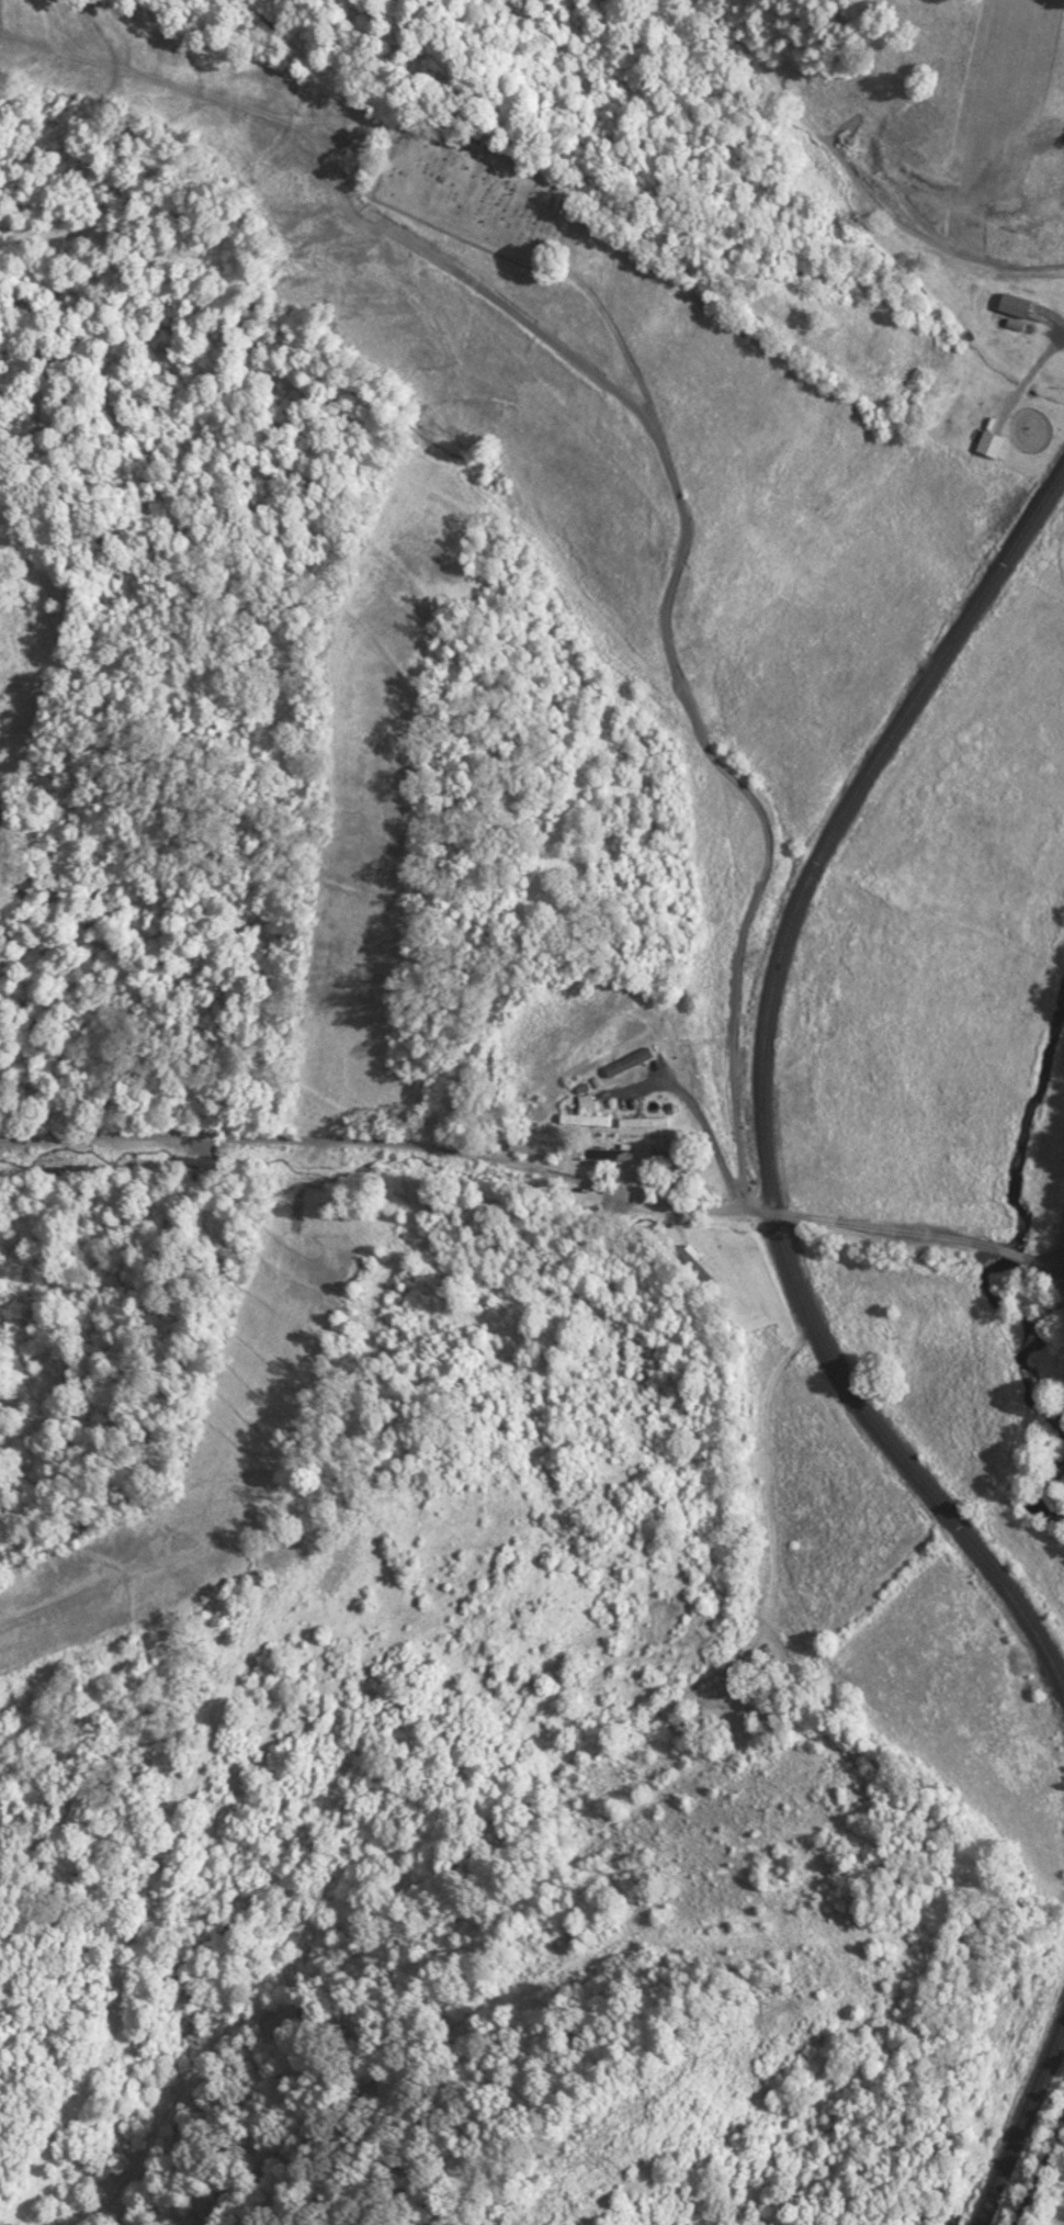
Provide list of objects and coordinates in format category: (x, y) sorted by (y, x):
road: (1030, 382)
building: (987, 442)
road: (755, 890)
building: (613, 1069)
railway: (766, 1082)
river: (1041, 1094)
building: (582, 1100)
building: (580, 1119)
building: (637, 1121)
building: (609, 1153)
road: (533, 1181)
railway: (1017, 2120)

